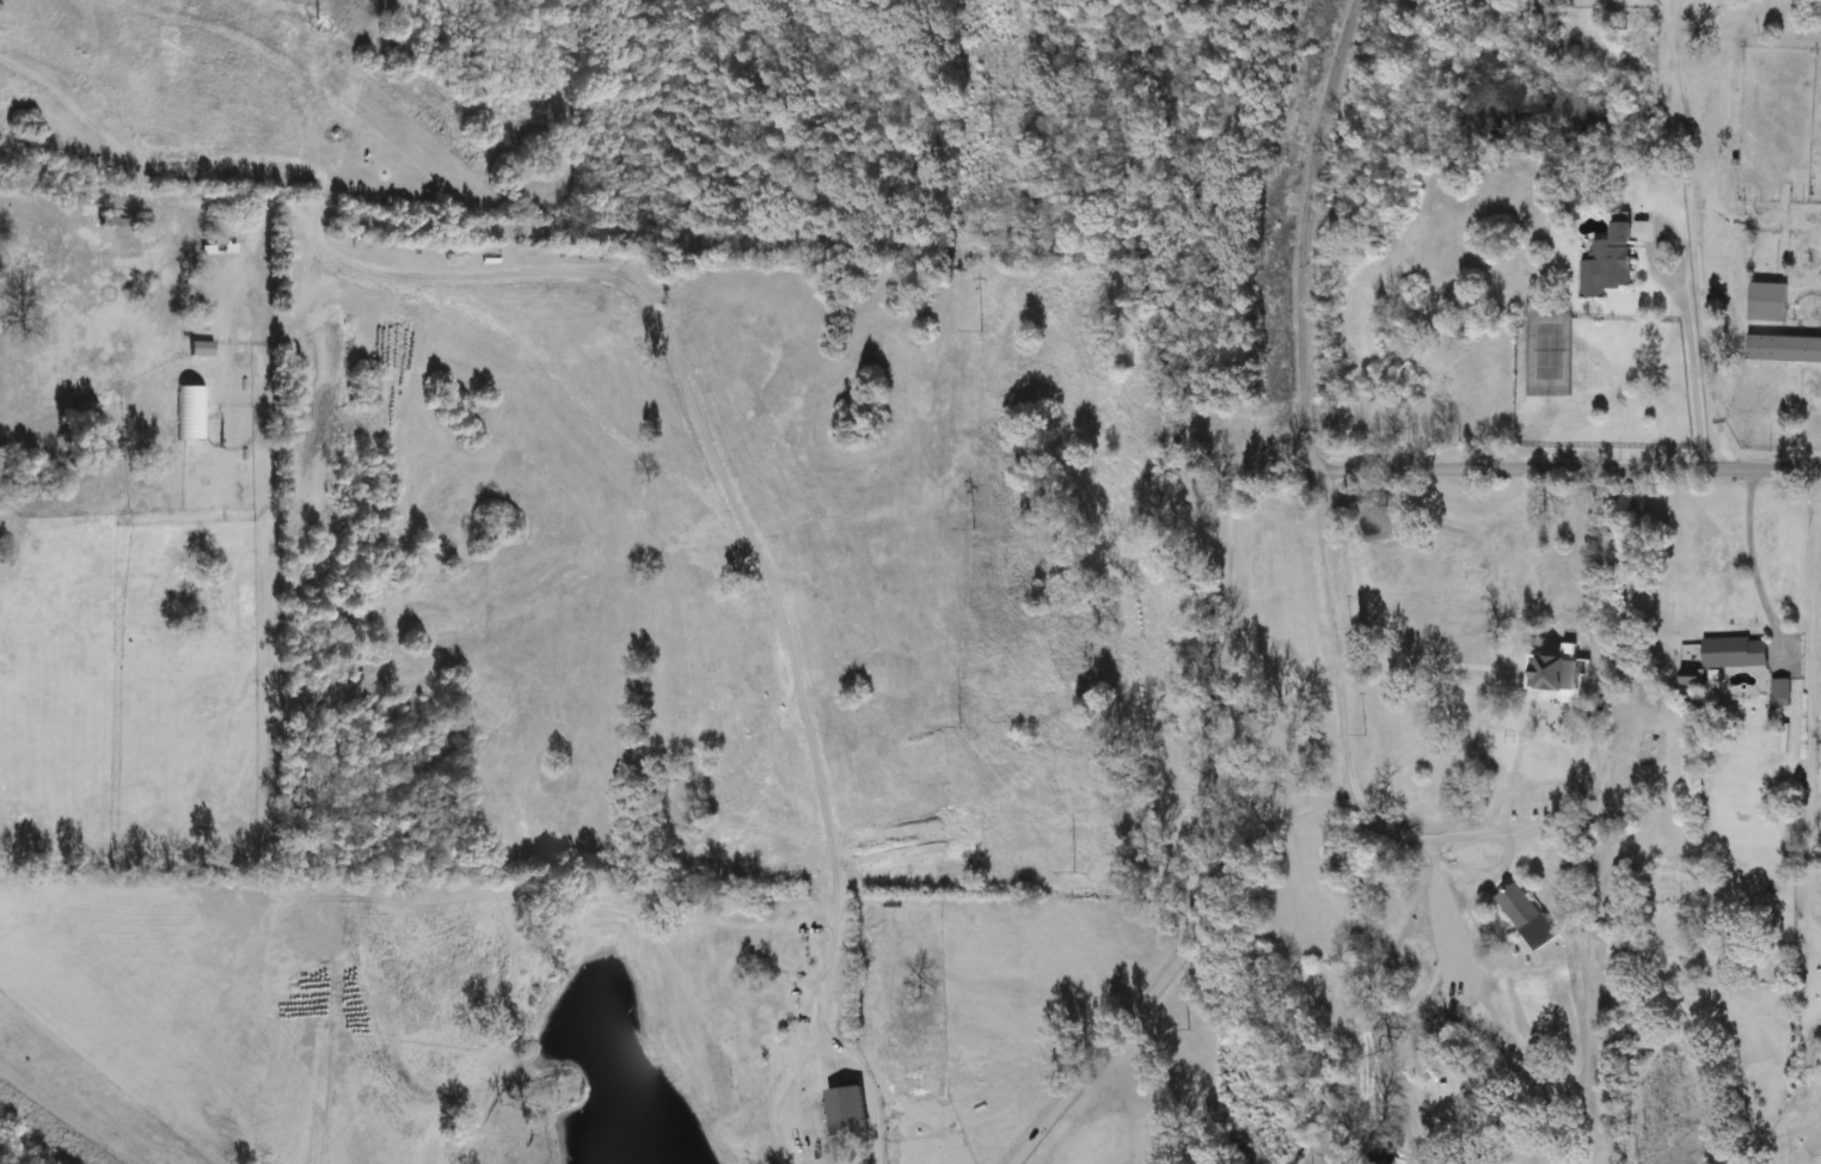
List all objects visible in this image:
road: (1312, 227)
road: (1691, 232)
building: (1611, 263)
road: (1678, 292)
building: (1770, 301)
building: (1784, 348)
road: (1226, 560)
road: (1749, 564)
building: (1737, 653)
building: (1561, 674)
road: (1807, 686)
building: (1783, 693)
road: (1813, 727)
building: (1653, 748)
road: (1349, 778)
building: (1623, 884)
building: (1527, 914)
building: (777, 1011)
building: (836, 1132)

